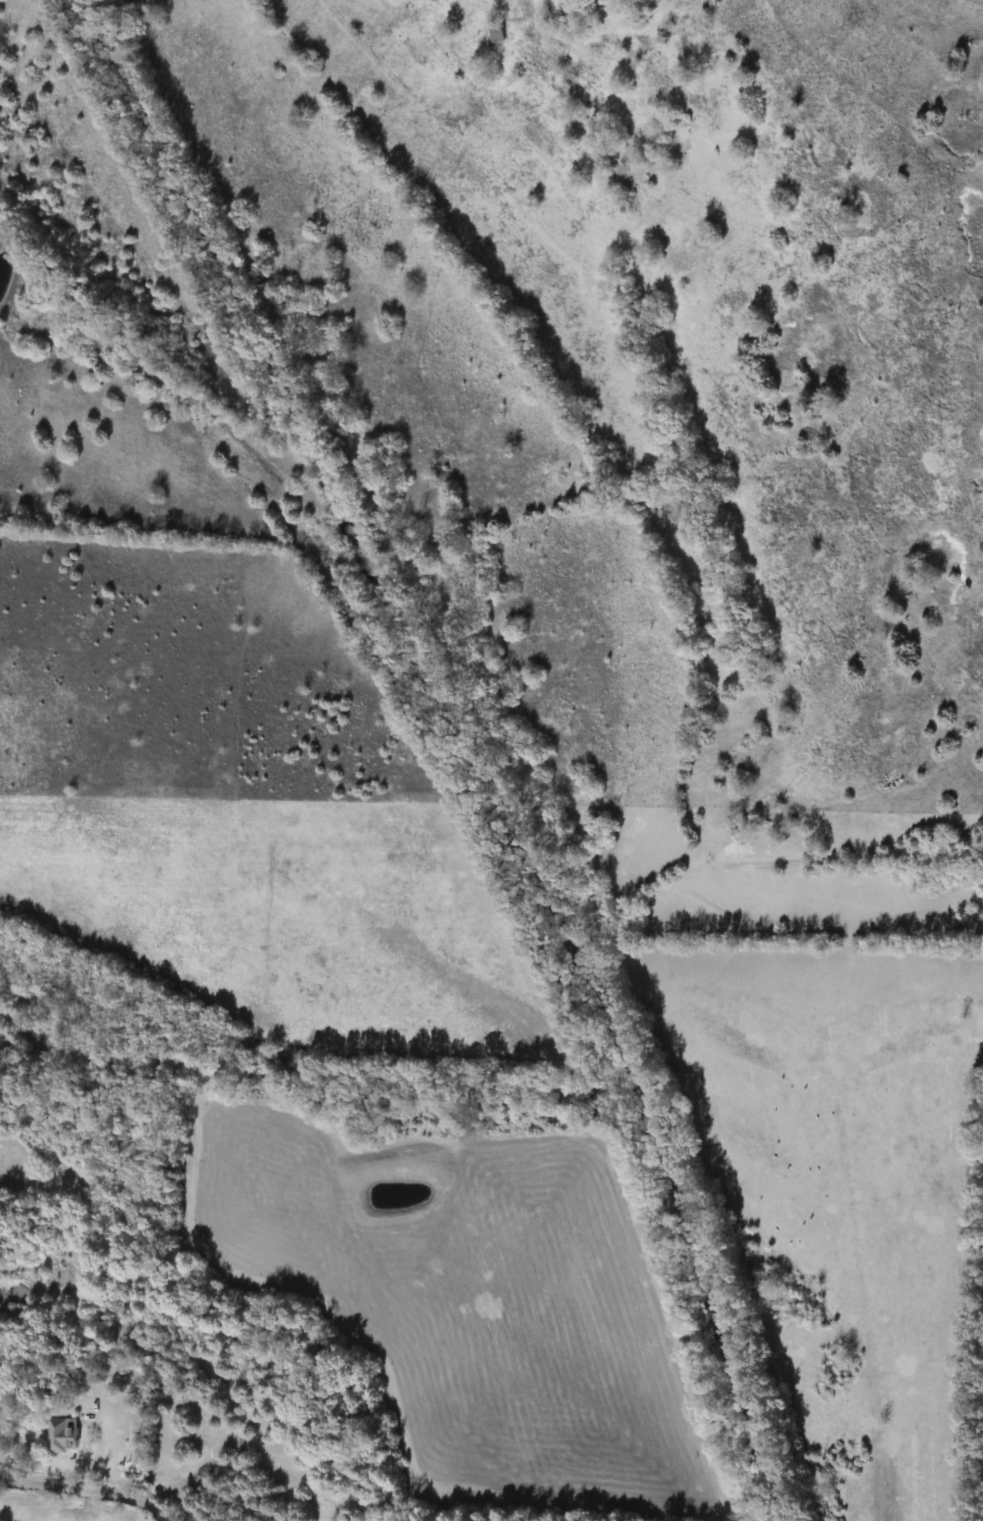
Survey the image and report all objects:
building: (61, 1435)
road: (88, 1488)

